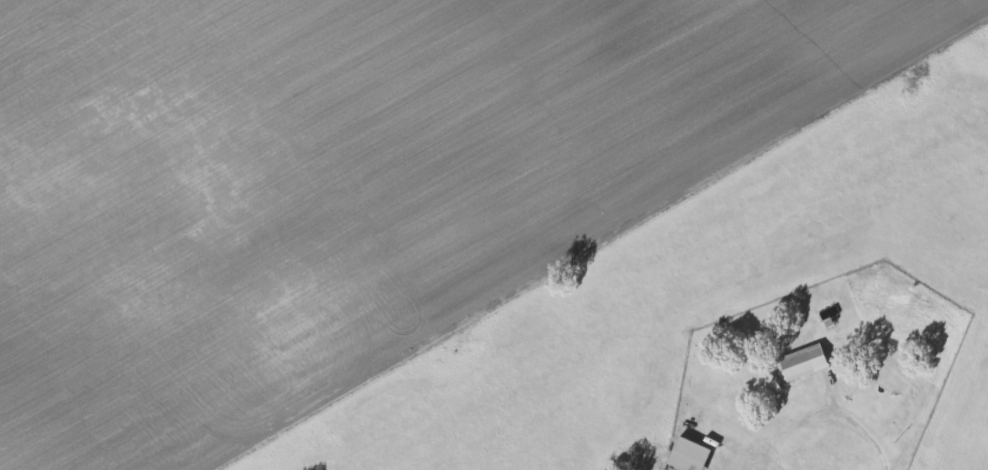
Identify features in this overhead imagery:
building: (798, 364)
building: (682, 456)

